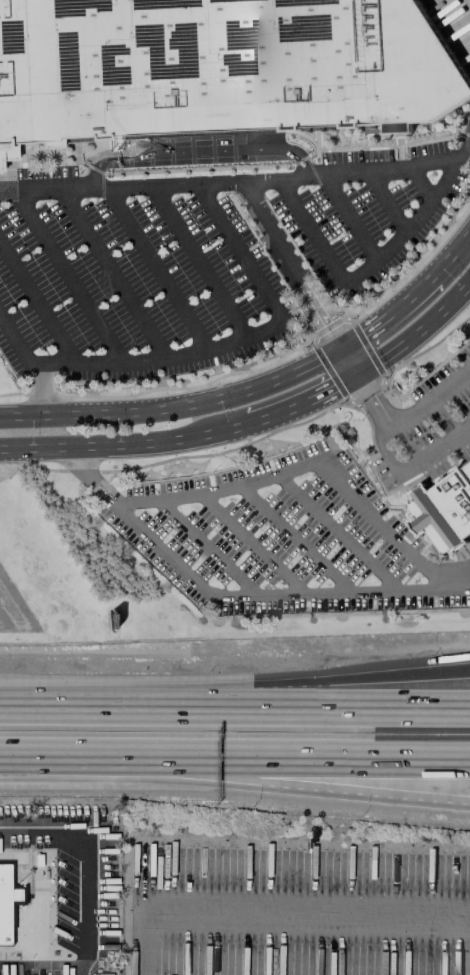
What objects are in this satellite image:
road: (469, 0)
building: (218, 67)
road: (398, 134)
road: (465, 134)
road: (377, 135)
road: (306, 138)
road: (429, 140)
road: (398, 141)
road: (468, 142)
road: (315, 143)
road: (368, 146)
road: (468, 148)
road: (76, 149)
road: (194, 155)
road: (40, 156)
road: (299, 159)
road: (309, 166)
road: (196, 169)
road: (100, 172)
road: (236, 182)
road: (420, 186)
road: (385, 202)
road: (349, 219)
road: (410, 227)
road: (311, 232)
road: (450, 251)
road: (198, 262)
road: (290, 263)
road: (416, 266)
road: (155, 269)
road: (113, 274)
road: (69, 277)
road: (409, 295)
road: (37, 304)
road: (364, 329)
road: (416, 331)
road: (207, 350)
road: (348, 360)
road: (385, 382)
park: (10, 386)
road: (160, 388)
road: (332, 388)
road: (42, 389)
road: (431, 396)
road: (175, 404)
road: (277, 412)
road: (164, 440)
road: (40, 446)
road: (177, 458)
road: (390, 458)
road: (301, 466)
building: (445, 511)
road: (450, 569)
park: (70, 574)
road: (237, 596)
road: (374, 690)
road: (171, 708)
road: (374, 708)
road: (31, 709)
road: (235, 764)
road: (235, 783)
road: (95, 854)
building: (8, 903)
road: (287, 928)

